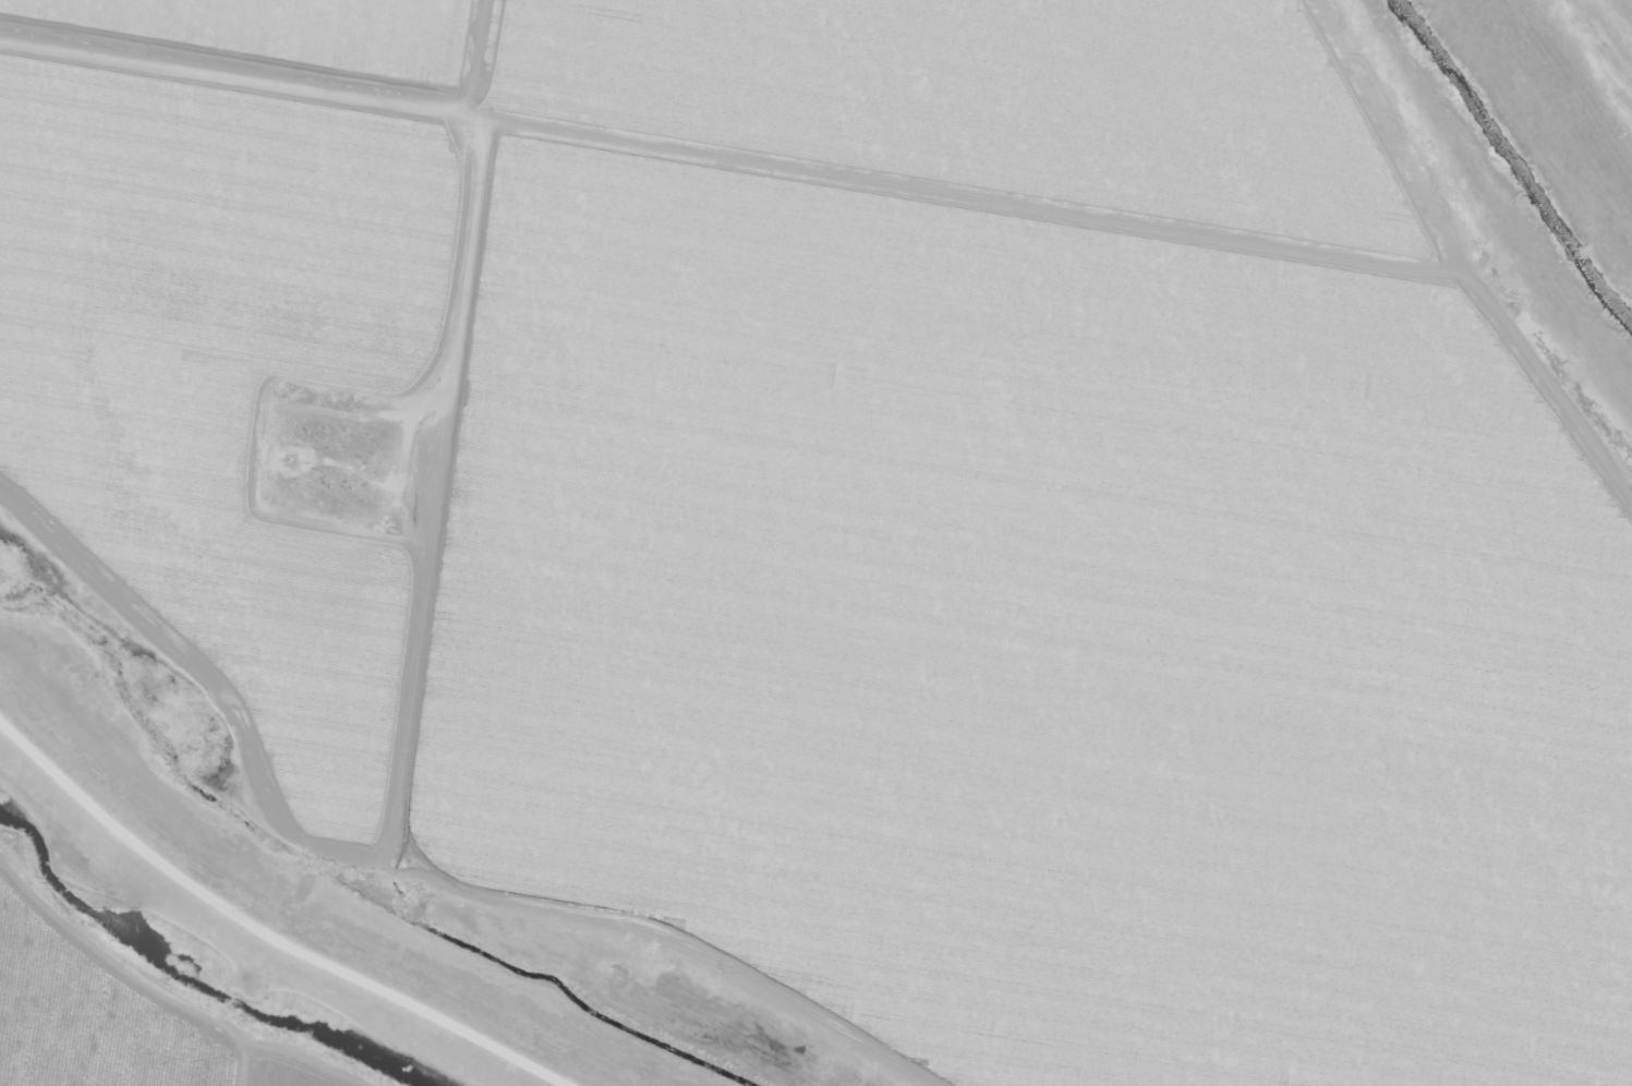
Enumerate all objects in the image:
river: (3, 818)
road: (306, 898)
river: (141, 934)

